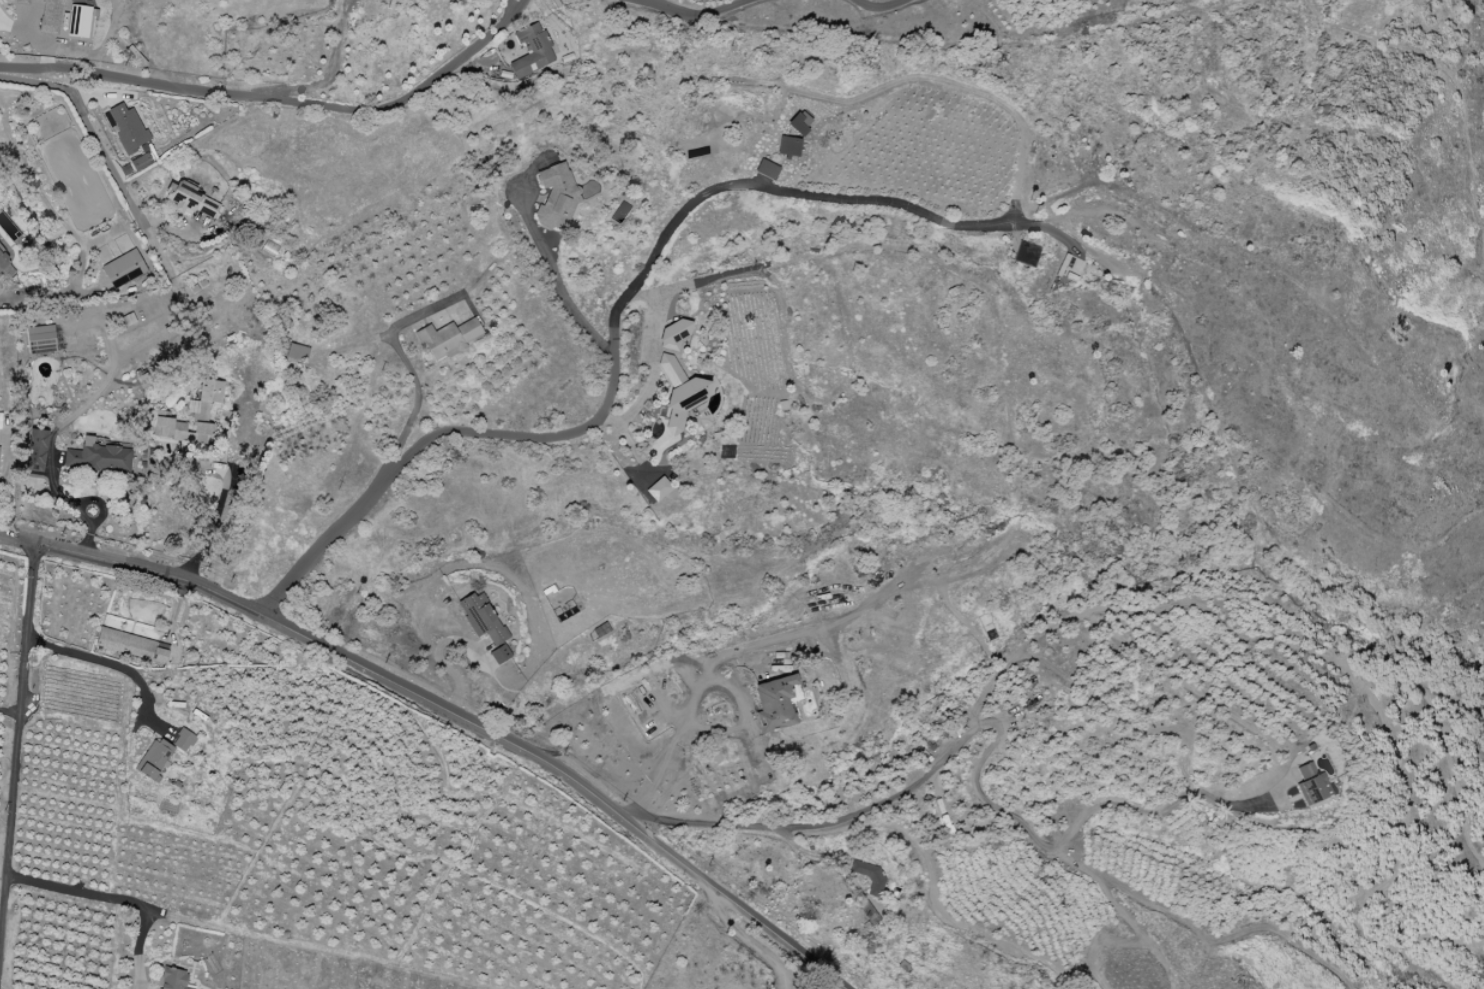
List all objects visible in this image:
building: (21, 2)
road: (730, 3)
road: (882, 4)
road: (508, 5)
road: (684, 13)
building: (50, 16)
building: (78, 21)
road: (31, 38)
building: (531, 51)
road: (278, 101)
building: (798, 122)
building: (128, 129)
building: (787, 146)
road: (100, 150)
building: (140, 161)
building: (766, 169)
building: (555, 197)
building: (190, 200)
building: (268, 249)
building: (4, 261)
building: (123, 269)
road: (557, 280)
road: (655, 318)
road: (612, 334)
building: (447, 338)
building: (40, 339)
building: (296, 352)
building: (677, 377)
road: (415, 404)
building: (192, 417)
building: (0, 419)
building: (36, 450)
building: (99, 459)
building: (656, 490)
road: (217, 508)
building: (481, 620)
building: (131, 646)
road: (57, 650)
building: (499, 654)
building: (777, 703)
road: (447, 711)
road: (1003, 729)
road: (675, 732)
building: (182, 741)
building: (152, 761)
building: (1311, 785)
road: (12, 795)
building: (869, 877)
road: (112, 898)
road: (746, 941)
building: (172, 979)

